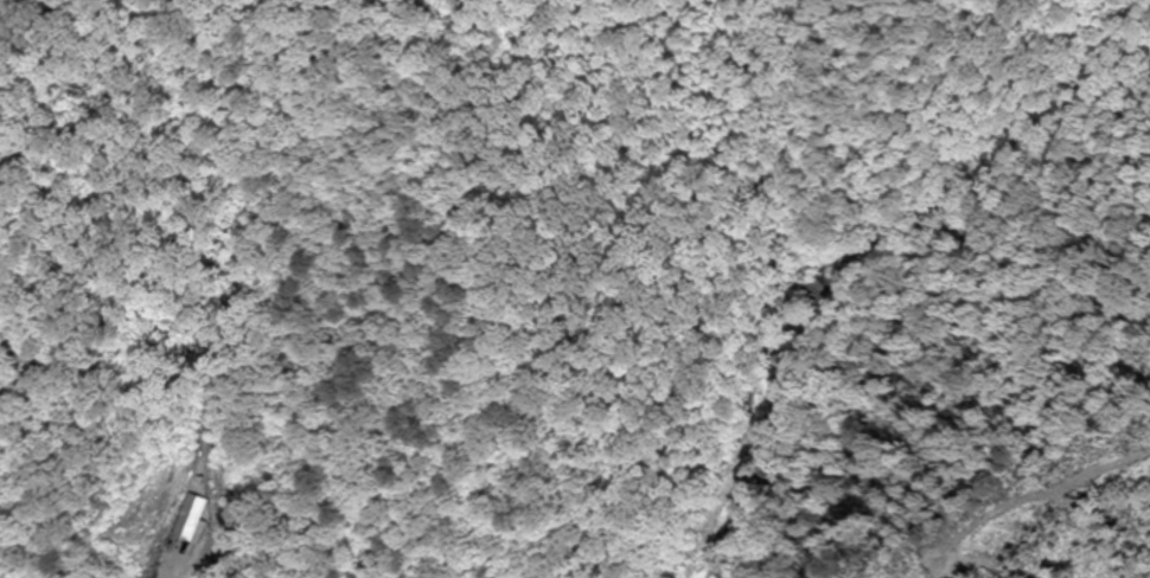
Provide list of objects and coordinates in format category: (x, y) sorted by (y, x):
building: (803, 290)
road: (765, 409)
building: (193, 518)

